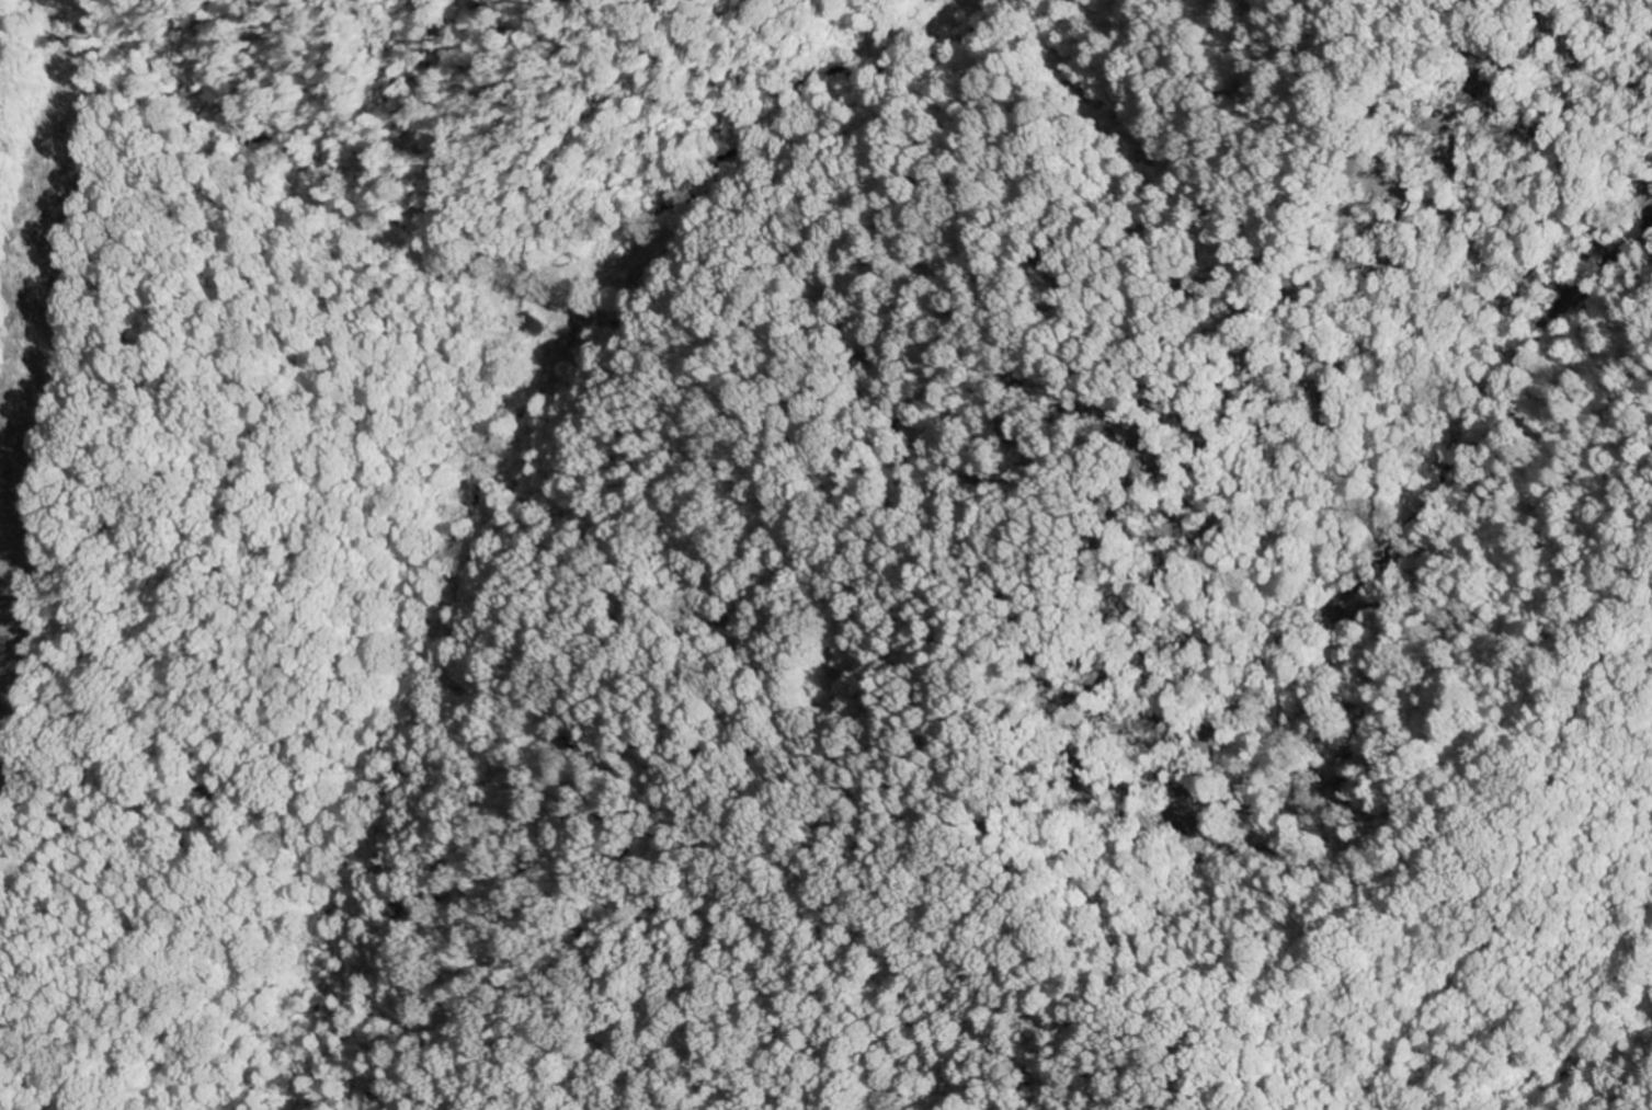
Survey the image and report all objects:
building: (537, 328)
power tower: (1, 447)

